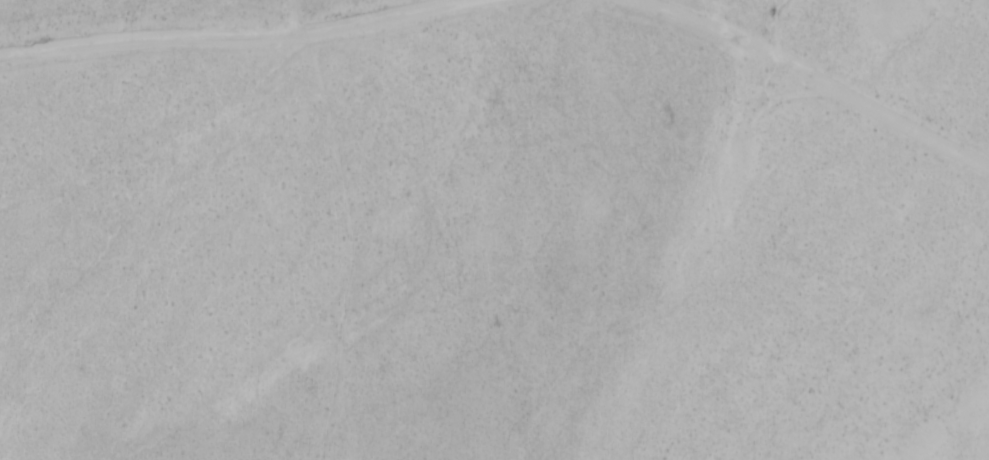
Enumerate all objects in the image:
road: (268, 45)
road: (816, 92)
road: (369, 225)

